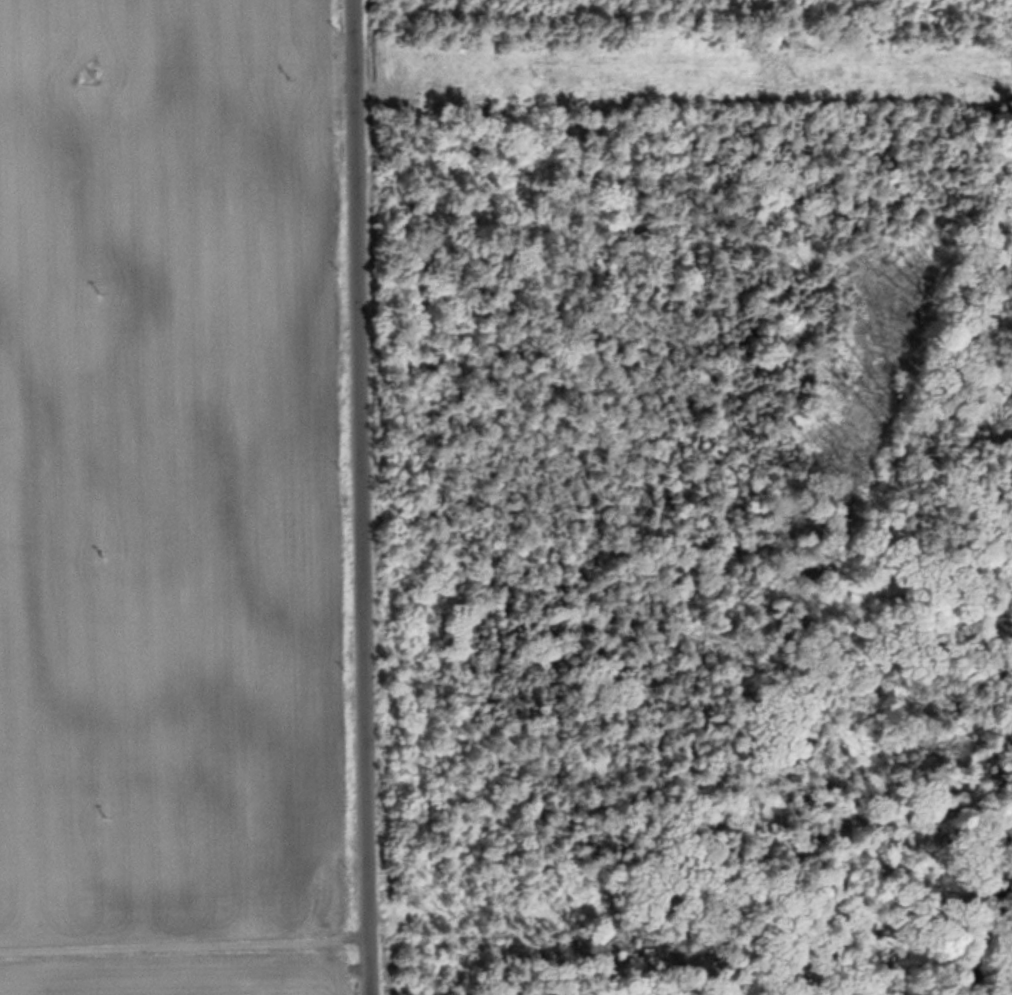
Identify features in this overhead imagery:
road: (358, 497)

